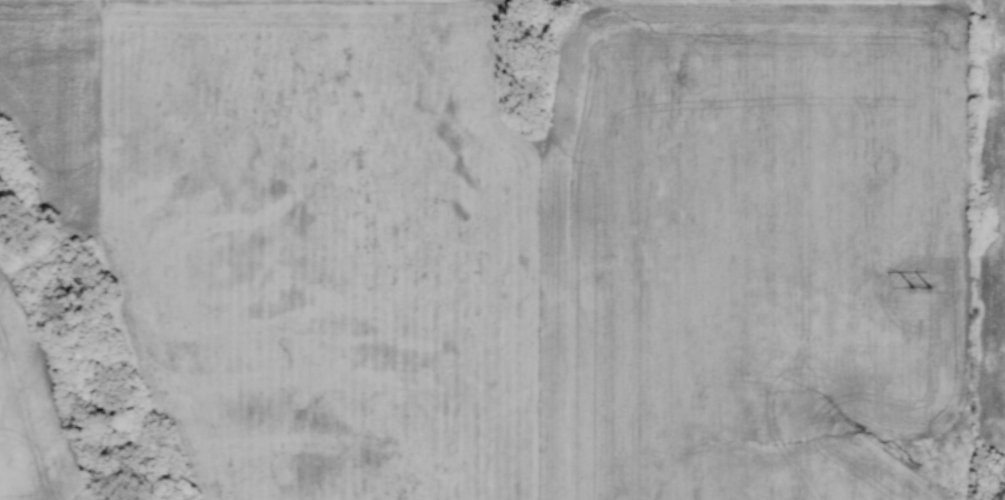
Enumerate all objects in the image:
power tower: (923, 288)

